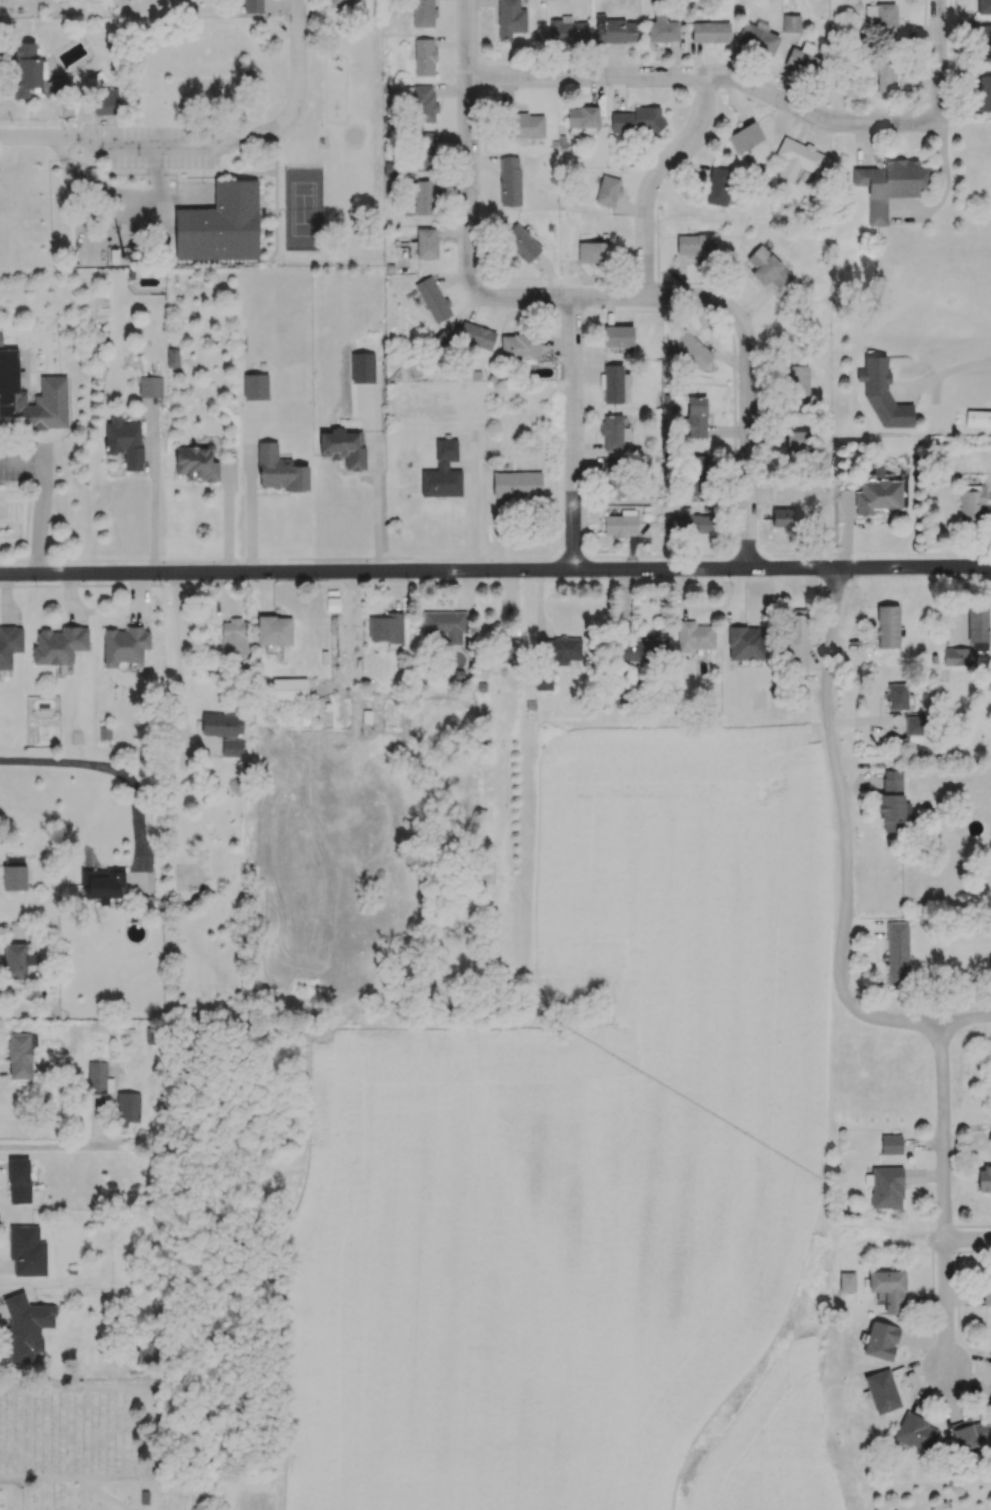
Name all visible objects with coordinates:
building: (347, 3)
building: (253, 6)
building: (984, 6)
building: (423, 13)
building: (883, 16)
building: (510, 18)
building: (791, 23)
road: (937, 27)
building: (662, 29)
building: (567, 30)
building: (614, 30)
building: (710, 31)
building: (758, 37)
building: (983, 43)
building: (424, 57)
building: (806, 63)
building: (27, 70)
building: (886, 75)
road: (297, 81)
road: (741, 83)
building: (983, 93)
building: (105, 101)
road: (468, 101)
building: (424, 103)
building: (582, 116)
building: (637, 120)
building: (527, 125)
building: (744, 137)
road: (41, 139)
parking lot: (162, 147)
road: (168, 148)
building: (424, 151)
park: (210, 153)
building: (797, 158)
building: (392, 169)
building: (510, 180)
road: (656, 182)
road: (943, 184)
building: (718, 185)
building: (890, 185)
building: (608, 190)
building: (424, 197)
park: (303, 209)
road: (92, 214)
building: (217, 234)
building: (426, 243)
building: (521, 243)
building: (695, 244)
building: (593, 252)
building: (767, 267)
building: (433, 299)
road: (690, 299)
building: (476, 335)
building: (618, 336)
building: (1, 340)
building: (520, 347)
building: (690, 350)
building: (172, 357)
building: (362, 367)
road: (945, 369)
building: (53, 383)
building: (615, 383)
building: (150, 386)
building: (255, 386)
building: (799, 386)
building: (883, 395)
building: (696, 417)
building: (978, 418)
building: (613, 431)
road: (575, 435)
building: (124, 441)
building: (799, 441)
building: (343, 448)
parking lot: (25, 463)
building: (195, 463)
road: (23, 466)
building: (279, 470)
building: (442, 472)
building: (695, 474)
building: (612, 478)
building: (516, 483)
building: (878, 494)
road: (155, 502)
building: (972, 502)
road: (382, 508)
road: (254, 511)
road: (478, 514)
building: (786, 517)
road: (41, 520)
building: (620, 523)
building: (688, 523)
road: (495, 569)
building: (332, 604)
building: (445, 624)
building: (977, 625)
building: (887, 626)
building: (385, 628)
building: (274, 630)
building: (695, 636)
building: (234, 638)
building: (796, 640)
building: (747, 643)
building: (10, 644)
building: (59, 645)
building: (124, 645)
building: (505, 648)
building: (643, 649)
building: (564, 650)
road: (180, 659)
building: (543, 679)
building: (289, 688)
building: (896, 696)
building: (797, 698)
building: (221, 724)
building: (914, 725)
building: (104, 733)
building: (231, 747)
road: (107, 773)
building: (893, 801)
road: (847, 831)
building: (14, 877)
building: (103, 884)
building: (897, 953)
building: (17, 960)
road: (967, 1021)
building: (20, 1053)
building: (96, 1077)
building: (128, 1107)
road: (67, 1144)
building: (891, 1144)
building: (984, 1178)
building: (19, 1180)
building: (885, 1187)
road: (945, 1197)
road: (968, 1243)
building: (22, 1249)
building: (847, 1281)
building: (889, 1289)
building: (987, 1291)
building: (26, 1326)
building: (881, 1340)
building: (148, 1352)
building: (882, 1391)
building: (989, 1402)
building: (915, 1431)
building: (969, 1433)
road: (76, 1481)

